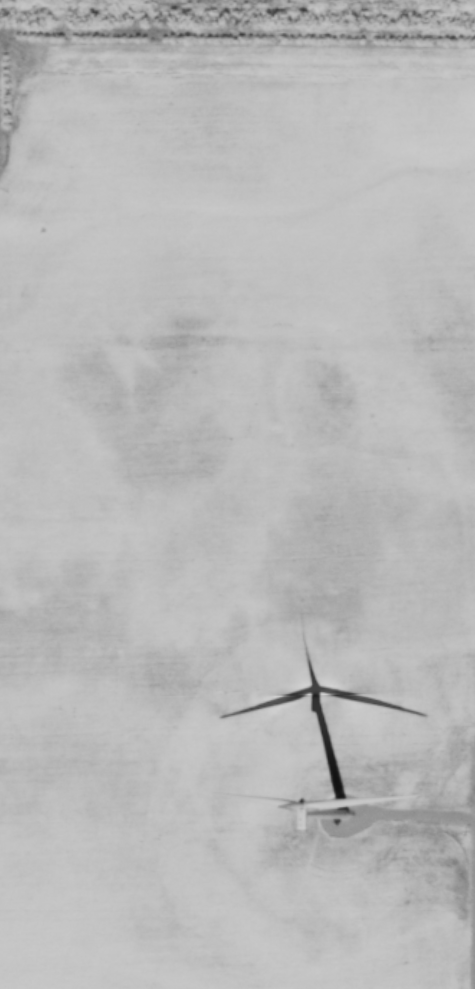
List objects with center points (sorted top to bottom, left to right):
wind turbine: (340, 812)

